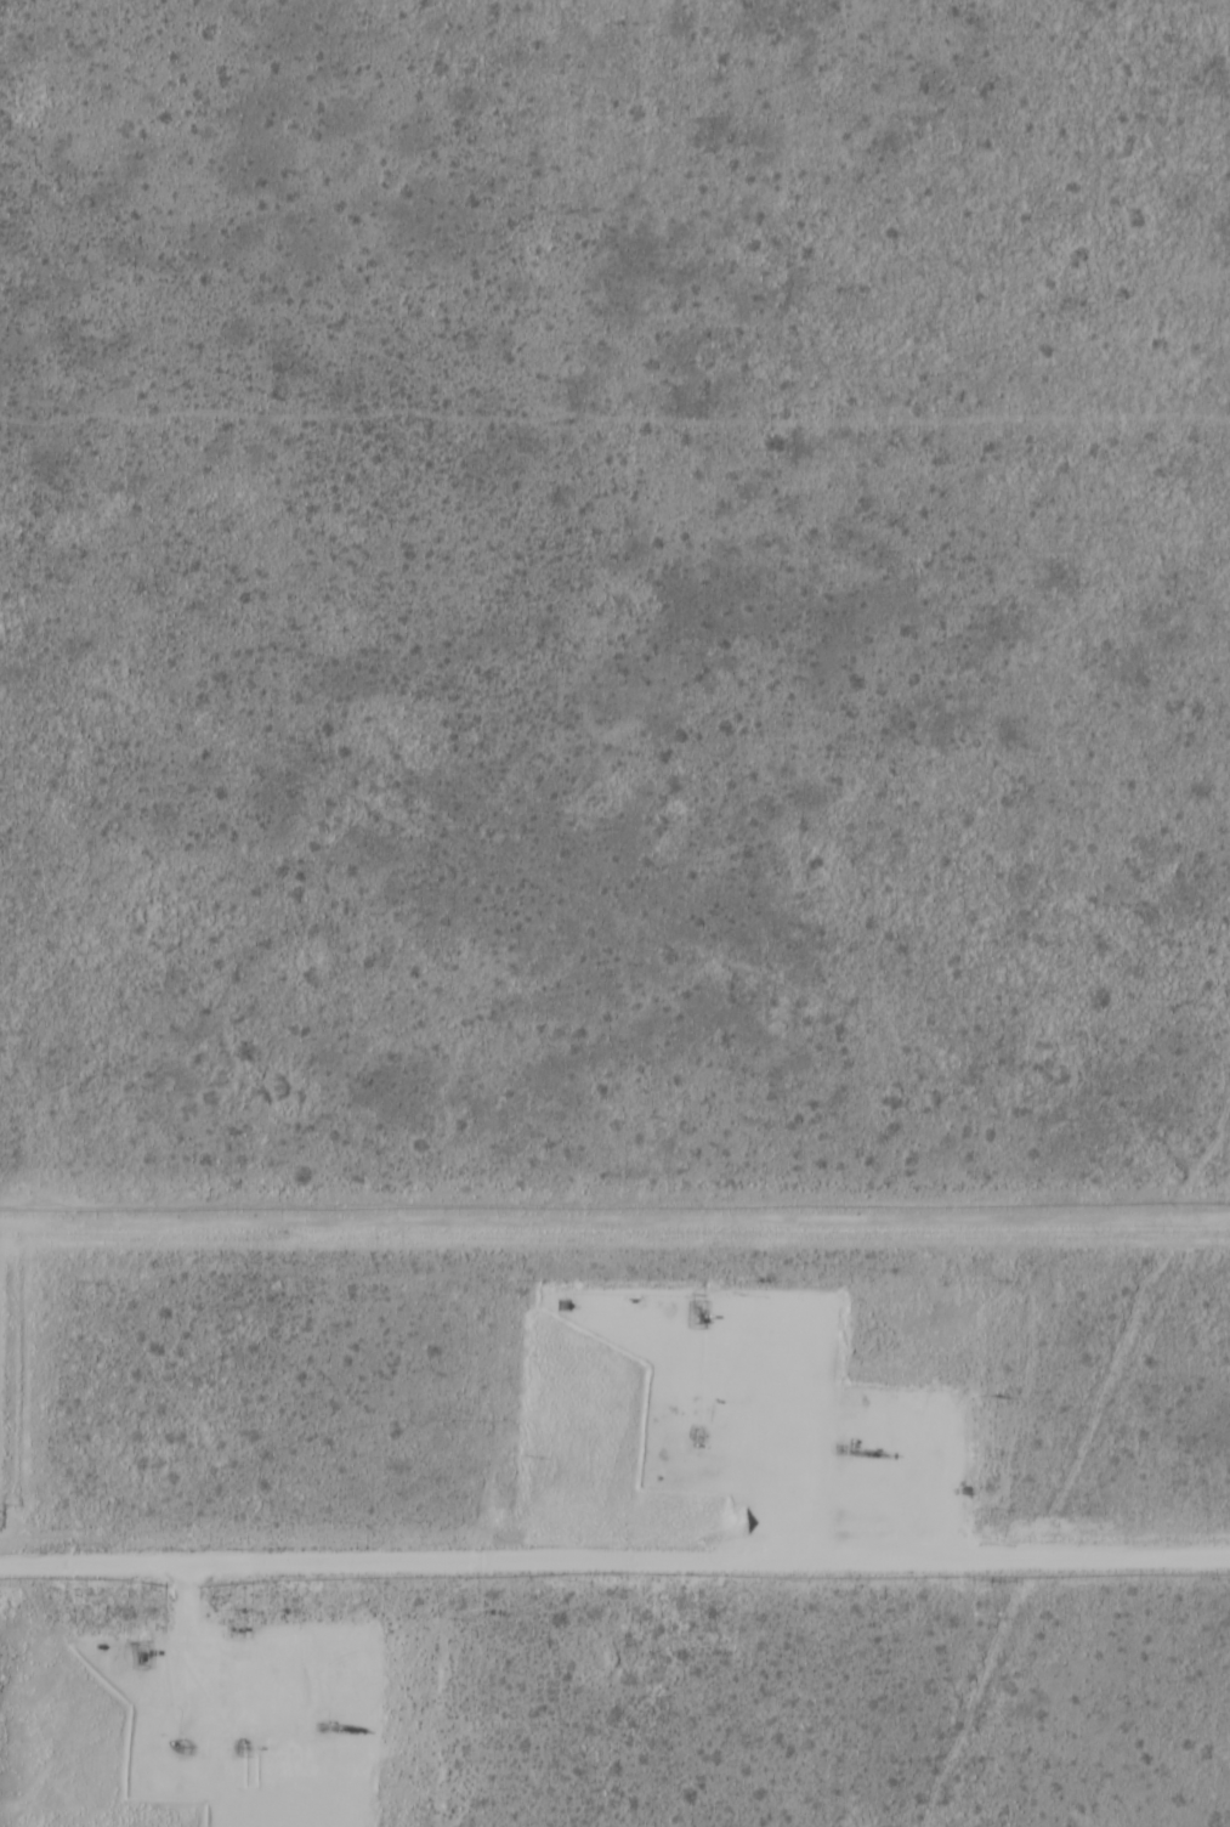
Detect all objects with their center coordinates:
road: (614, 1557)
road: (175, 1659)

